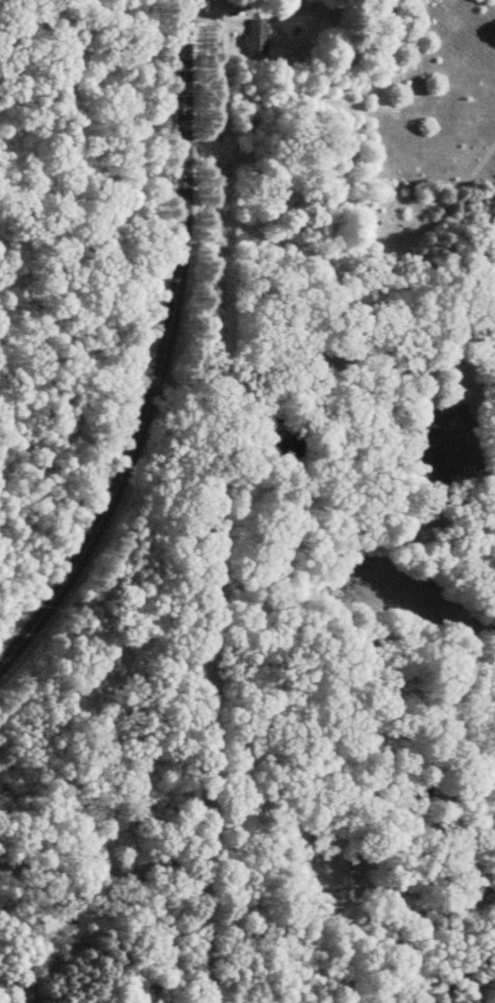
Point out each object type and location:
building: (253, 37)
road: (167, 352)
building: (406, 365)
building: (438, 417)
road: (247, 887)

